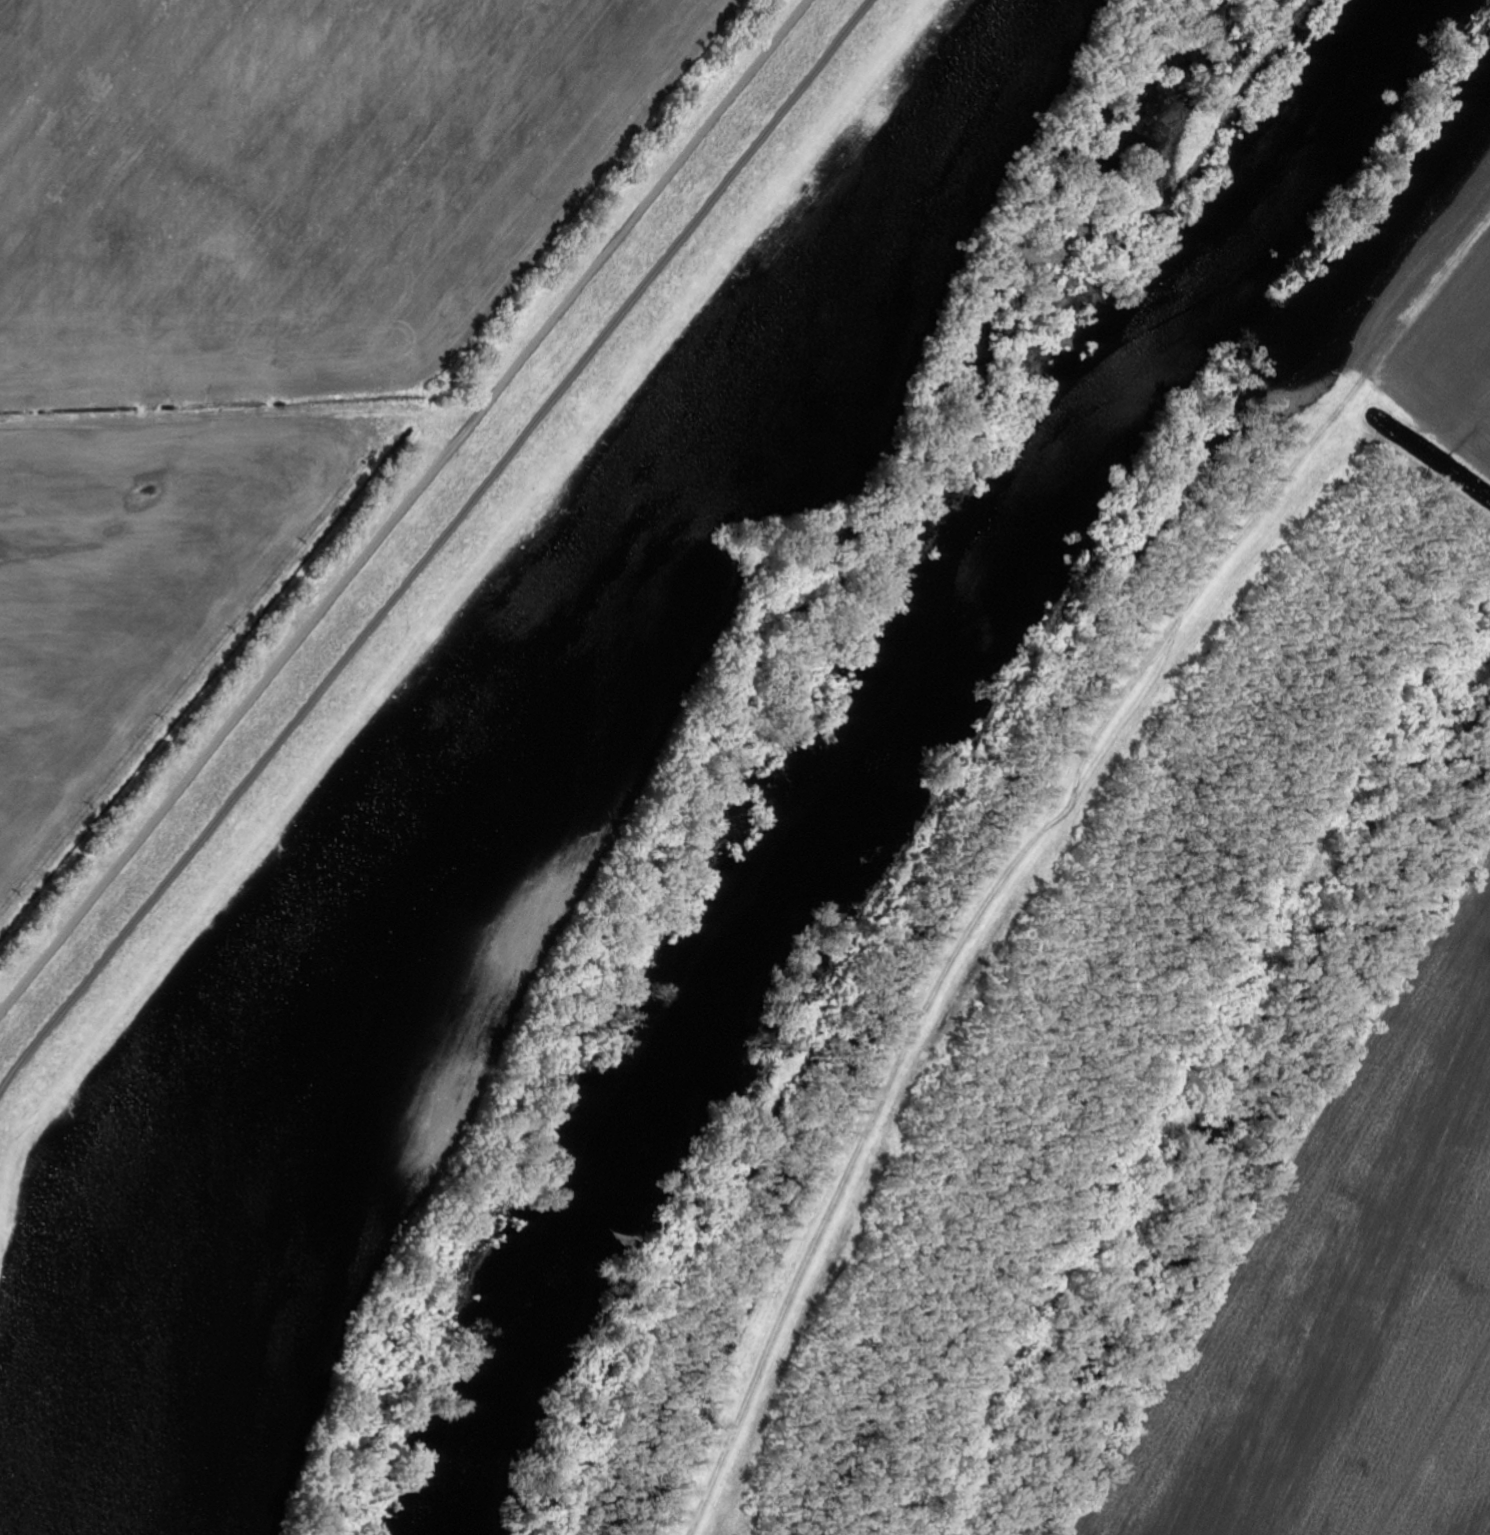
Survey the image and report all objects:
road: (404, 505)
road: (433, 545)
river: (884, 746)
road: (1434, 1441)

